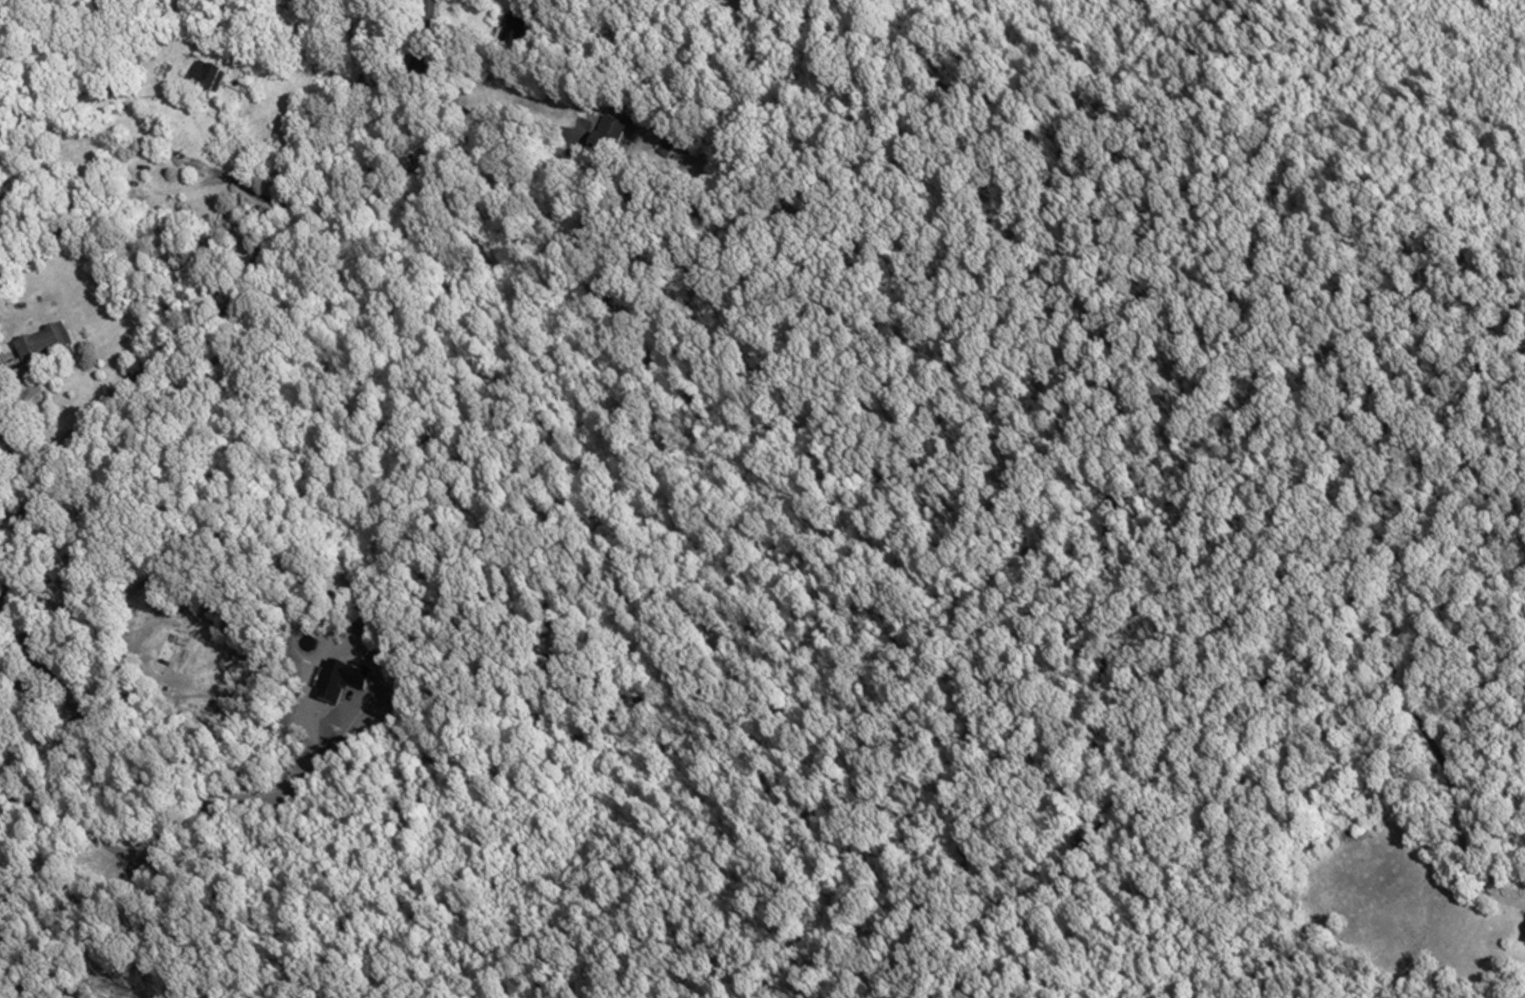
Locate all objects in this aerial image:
building: (513, 31)
road: (466, 44)
building: (202, 78)
road: (476, 119)
building: (606, 135)
building: (664, 149)
road: (264, 197)
road: (223, 313)
building: (44, 344)
building: (3, 376)
road: (6, 439)
road: (13, 515)
road: (1003, 580)
building: (170, 649)
building: (341, 684)
road: (190, 822)
building: (1524, 942)

